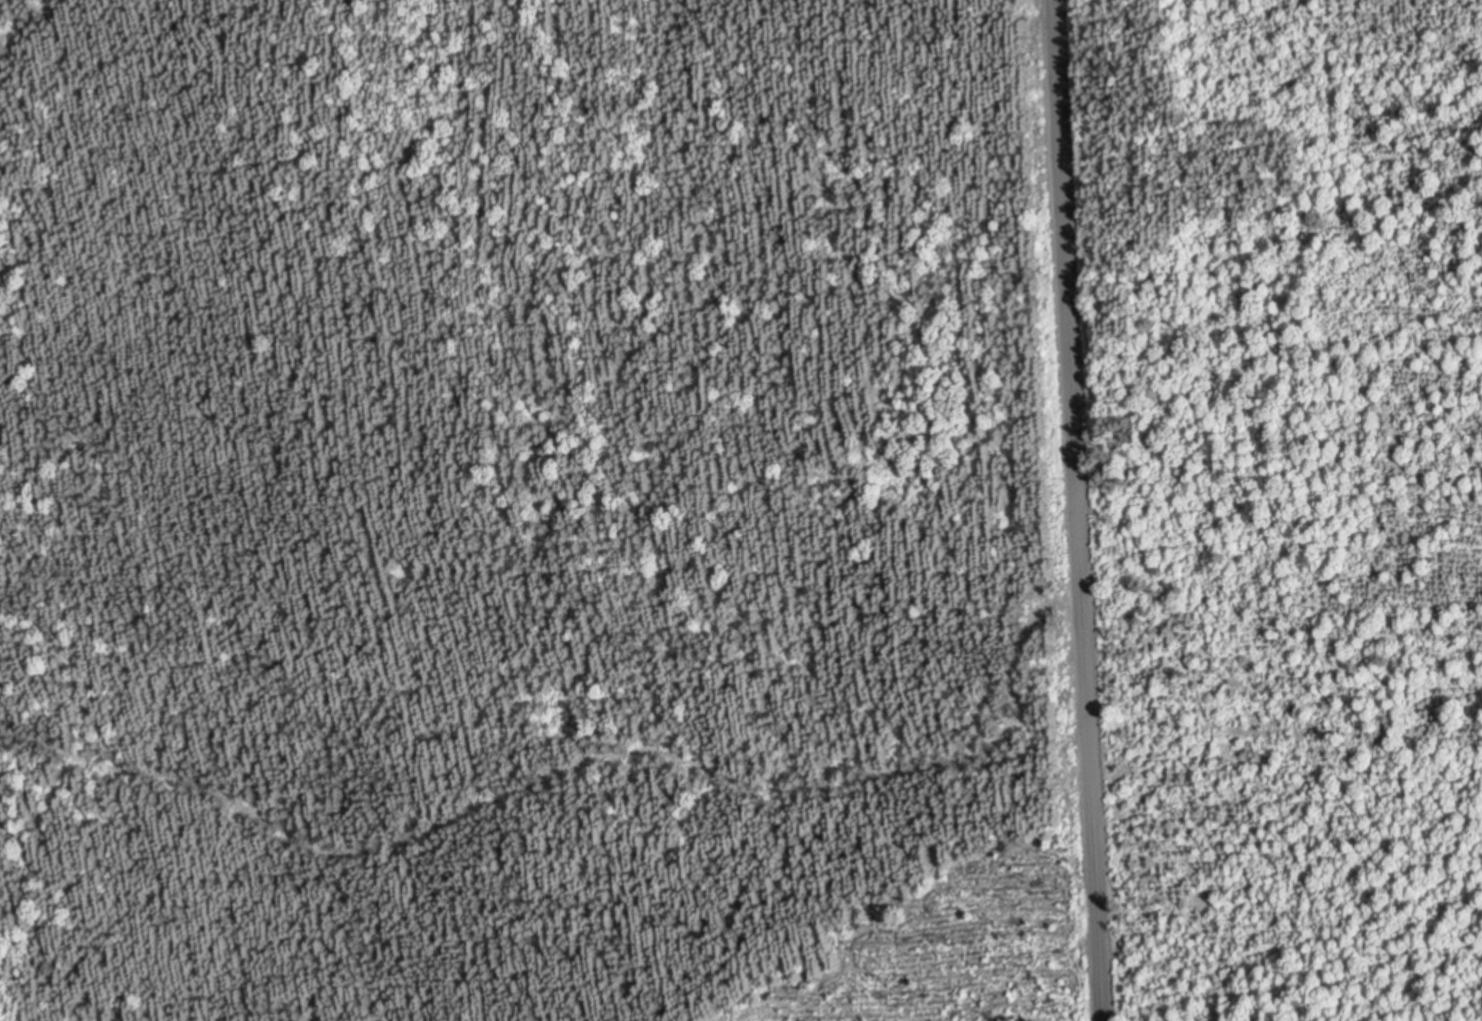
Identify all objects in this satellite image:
road: (1078, 510)

